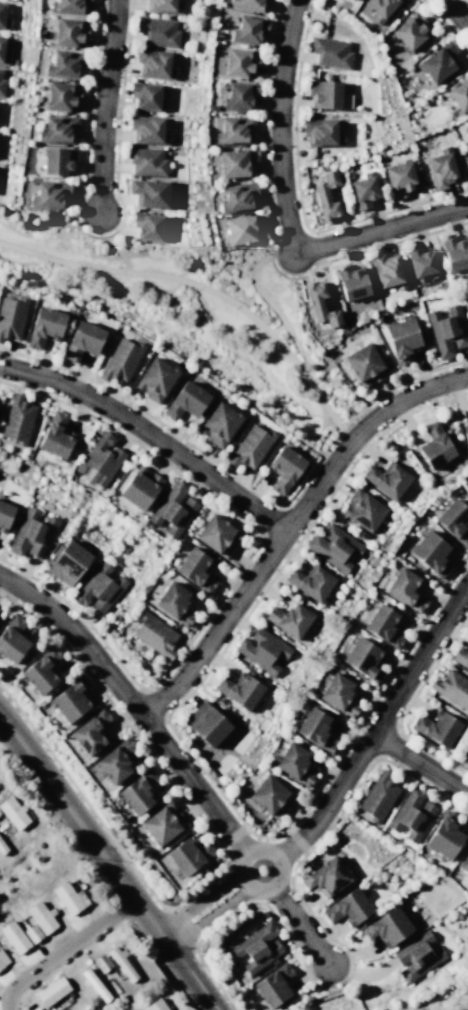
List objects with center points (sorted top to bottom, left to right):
building: (267, 0)
building: (352, 0)
road: (466, 1)
building: (248, 4)
building: (67, 6)
building: (162, 6)
building: (380, 8)
road: (457, 12)
building: (2, 18)
building: (248, 29)
building: (68, 30)
building: (409, 30)
building: (157, 31)
building: (329, 52)
building: (2, 54)
building: (437, 61)
building: (238, 62)
building: (63, 63)
building: (153, 63)
building: (0, 69)
building: (1, 85)
road: (89, 92)
building: (323, 93)
building: (60, 95)
building: (238, 95)
building: (458, 95)
building: (145, 96)
road: (104, 105)
road: (118, 116)
road: (263, 116)
road: (279, 126)
building: (466, 128)
building: (56, 129)
building: (146, 129)
building: (233, 129)
building: (320, 131)
building: (56, 160)
building: (146, 161)
building: (235, 161)
building: (440, 168)
building: (398, 178)
building: (363, 189)
building: (148, 191)
building: (49, 193)
building: (237, 196)
building: (324, 196)
road: (76, 220)
building: (147, 226)
road: (381, 229)
building: (242, 230)
road: (111, 232)
road: (120, 251)
building: (454, 252)
road: (349, 254)
building: (422, 262)
building: (387, 270)
road: (167, 276)
building: (351, 281)
building: (319, 304)
park: (191, 312)
road: (276, 312)
building: (11, 316)
building: (43, 326)
road: (276, 327)
building: (446, 330)
building: (401, 338)
building: (81, 340)
building: (120, 360)
building: (364, 364)
building: (154, 378)
building: (184, 400)
road: (321, 401)
building: (17, 418)
building: (218, 423)
building: (465, 433)
building: (54, 434)
road: (149, 435)
building: (249, 446)
building: (434, 446)
building: (99, 457)
building: (283, 467)
road: (312, 467)
building: (386, 479)
building: (138, 486)
building: (171, 508)
building: (362, 509)
building: (4, 514)
building: (453, 520)
road: (289, 524)
building: (31, 533)
building: (215, 534)
building: (361, 534)
building: (332, 546)
building: (429, 552)
building: (66, 562)
building: (194, 568)
building: (83, 574)
building: (309, 582)
building: (98, 587)
building: (405, 588)
building: (172, 602)
building: (288, 618)
building: (382, 625)
building: (153, 634)
building: (10, 639)
building: (261, 649)
building: (361, 657)
building: (460, 657)
building: (40, 670)
building: (451, 688)
building: (238, 690)
building: (337, 694)
building: (69, 699)
road: (134, 704)
building: (204, 723)
road: (379, 725)
building: (436, 727)
building: (315, 728)
building: (88, 731)
building: (465, 756)
building: (113, 759)
building: (292, 762)
road: (421, 762)
building: (136, 791)
building: (269, 795)
building: (377, 796)
road: (67, 806)
building: (13, 812)
building: (410, 814)
building: (162, 822)
building: (443, 835)
building: (2, 847)
road: (260, 849)
building: (187, 855)
building: (463, 861)
road: (228, 862)
building: (324, 876)
building: (68, 897)
road: (199, 902)
building: (347, 906)
building: (41, 916)
road: (209, 916)
road: (221, 922)
road: (302, 925)
building: (386, 925)
road: (179, 929)
building: (31, 932)
building: (12, 937)
building: (256, 946)
road: (64, 950)
road: (177, 954)
building: (417, 956)
building: (2, 958)
building: (272, 961)
road: (65, 962)
building: (101, 962)
building: (121, 962)
building: (232, 965)
building: (93, 984)
building: (272, 984)
building: (51, 990)
building: (155, 1005)
building: (34, 1008)
building: (81, 1008)
building: (84, 1009)

